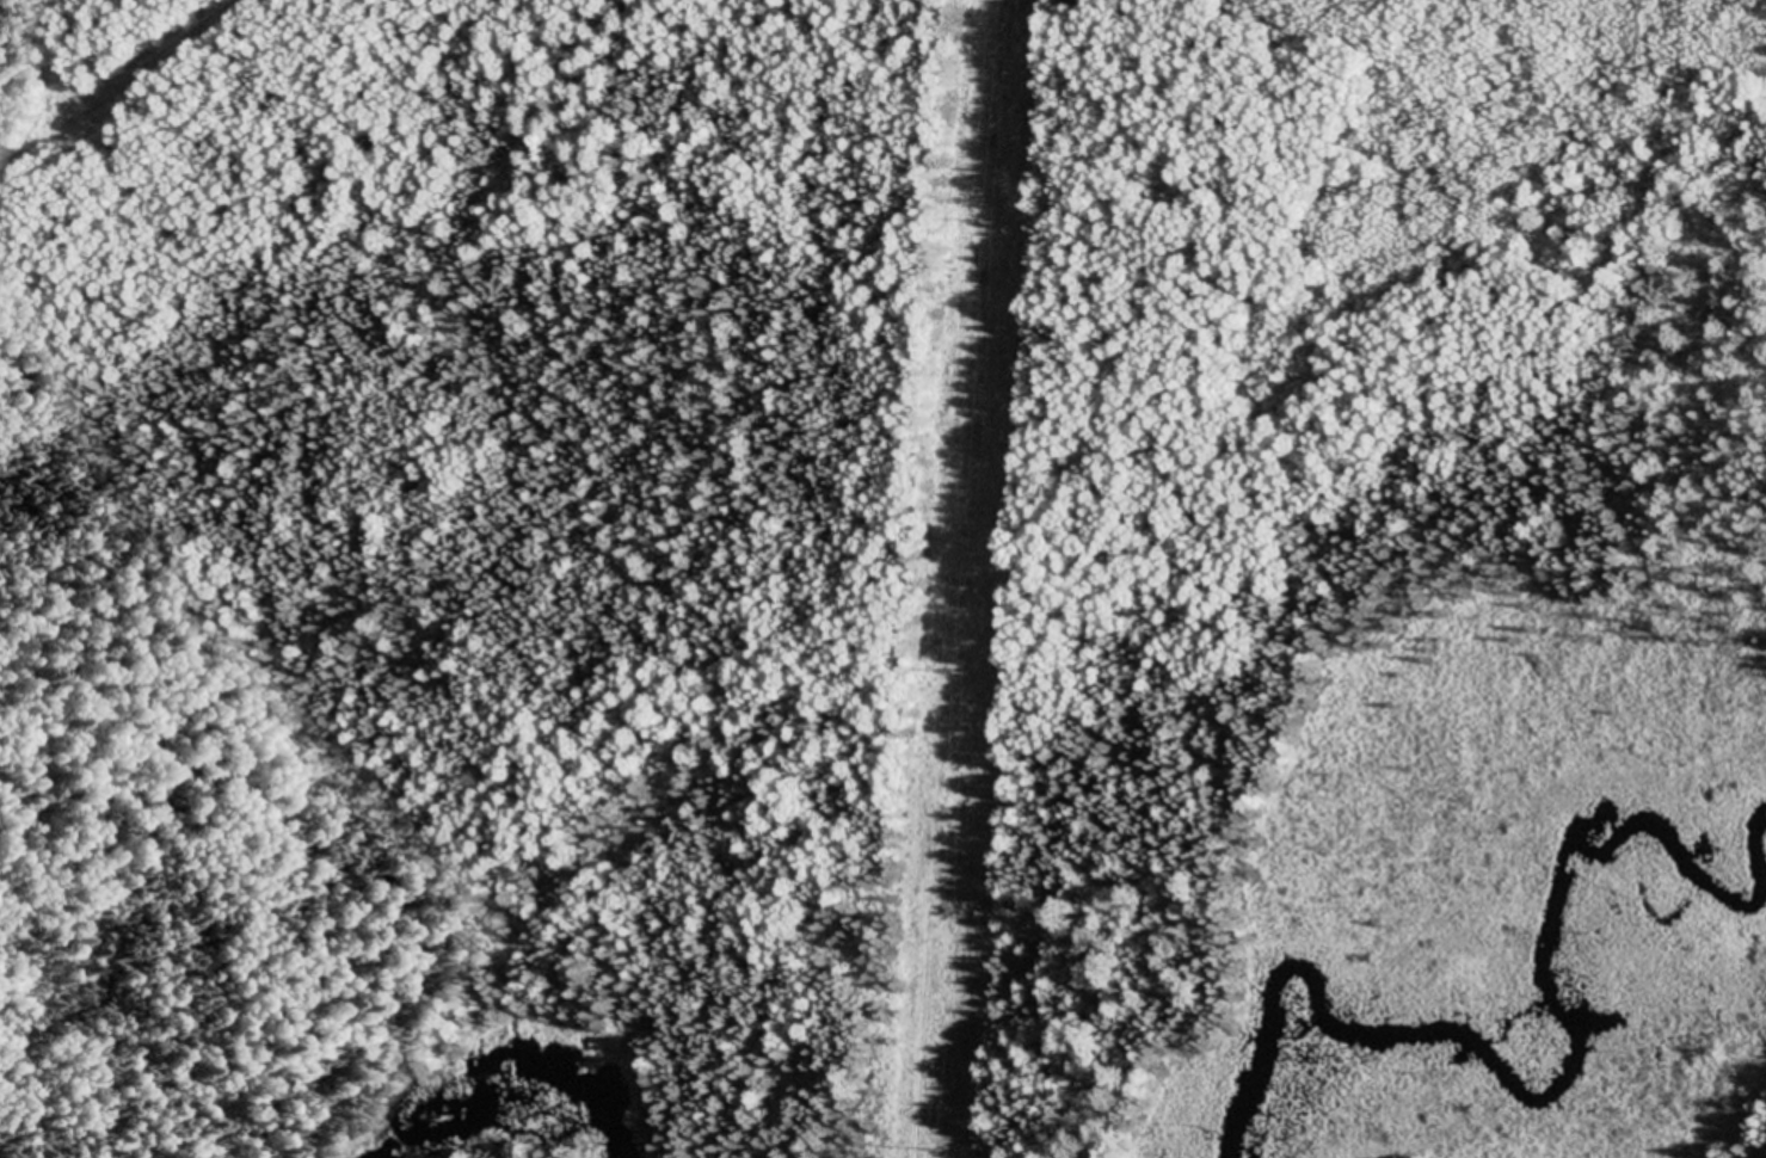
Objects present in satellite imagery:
road: (118, 81)
power tower: (992, 222)
power tower: (966, 676)
power tower: (940, 1153)

